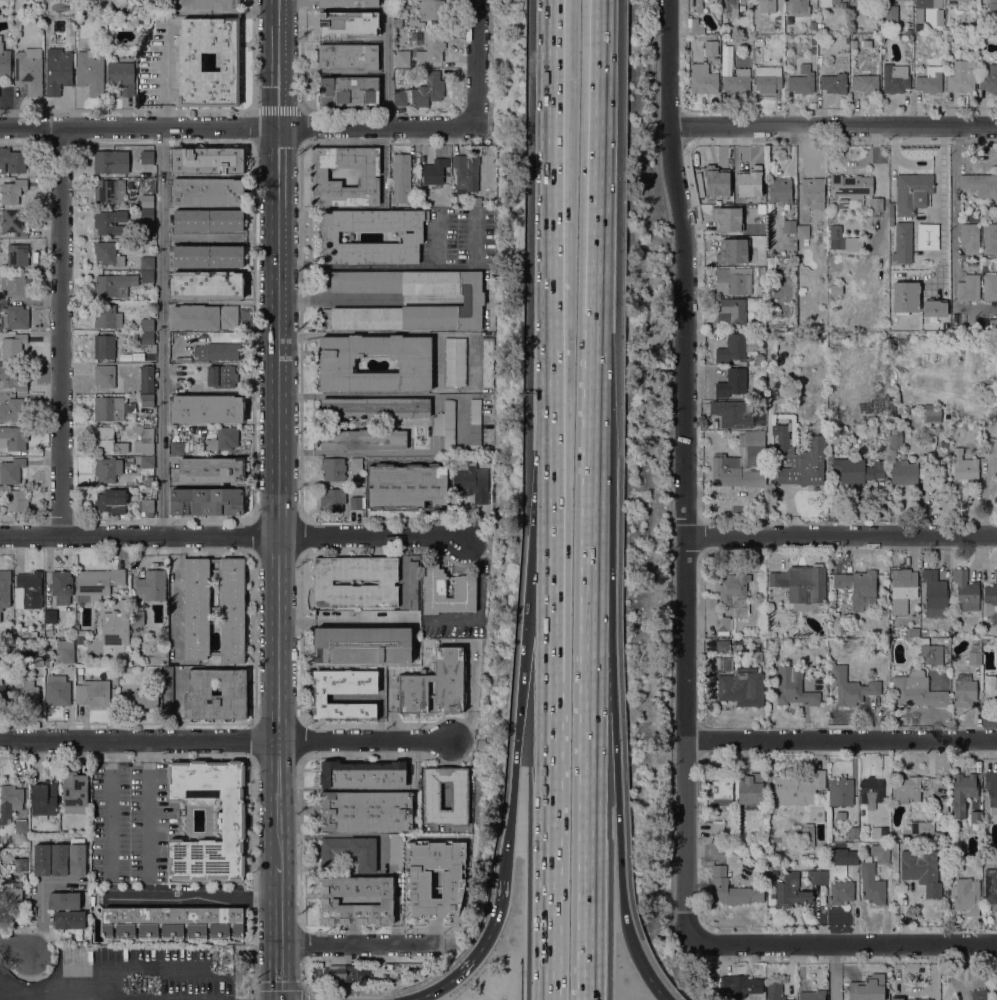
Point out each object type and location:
building: (958, 0)
building: (970, 0)
building: (119, 2)
building: (347, 3)
building: (760, 3)
building: (828, 3)
building: (217, 4)
building: (696, 6)
building: (730, 6)
building: (798, 7)
building: (992, 10)
building: (429, 12)
building: (890, 13)
building: (919, 15)
building: (939, 17)
building: (812, 20)
building: (398, 22)
building: (327, 25)
building: (695, 26)
building: (876, 29)
building: (971, 29)
building: (979, 29)
building: (852, 30)
building: (949, 30)
building: (909, 32)
building: (372, 35)
building: (949, 38)
building: (813, 41)
building: (431, 48)
building: (711, 48)
building: (813, 50)
building: (348, 56)
building: (402, 58)
building: (4, 61)
road: (474, 61)
road: (385, 63)
building: (188, 66)
building: (29, 71)
building: (90, 71)
building: (58, 73)
road: (166, 74)
building: (122, 75)
building: (962, 76)
building: (703, 79)
building: (767, 79)
building: (895, 79)
building: (801, 80)
building: (863, 80)
building: (929, 80)
building: (989, 80)
building: (737, 83)
building: (833, 83)
building: (348, 90)
building: (428, 90)
building: (400, 97)
road: (235, 127)
road: (832, 127)
road: (597, 153)
building: (147, 157)
building: (12, 161)
building: (207, 161)
building: (111, 162)
building: (434, 171)
building: (466, 173)
building: (319, 176)
building: (401, 178)
building: (716, 181)
building: (748, 181)
building: (130, 183)
building: (980, 184)
building: (148, 186)
building: (850, 188)
building: (12, 191)
building: (109, 191)
building: (780, 191)
building: (206, 192)
building: (813, 192)
building: (912, 192)
building: (145, 201)
building: (476, 202)
building: (842, 203)
building: (876, 205)
building: (891, 212)
road: (953, 214)
building: (146, 219)
building: (727, 219)
building: (208, 221)
building: (12, 223)
building: (110, 223)
building: (789, 226)
building: (803, 233)
building: (928, 235)
building: (412, 237)
building: (835, 237)
building: (969, 238)
building: (990, 239)
building: (903, 246)
building: (731, 251)
building: (108, 253)
building: (17, 255)
building: (208, 255)
building: (147, 262)
building: (985, 263)
building: (147, 276)
building: (733, 280)
building: (14, 283)
building: (113, 285)
building: (206, 285)
building: (990, 287)
building: (968, 288)
building: (835, 290)
building: (904, 296)
road: (366, 300)
building: (471, 300)
road: (553, 301)
building: (933, 308)
building: (730, 311)
building: (107, 316)
building: (14, 317)
building: (204, 317)
building: (147, 325)
road: (60, 330)
road: (162, 330)
road: (399, 333)
building: (147, 338)
building: (190, 338)
building: (13, 347)
building: (104, 347)
building: (740, 348)
building: (217, 352)
building: (455, 361)
building: (487, 362)
building: (414, 363)
building: (104, 376)
building: (222, 377)
building: (12, 378)
building: (176, 378)
building: (147, 379)
road: (594, 381)
building: (732, 383)
road: (370, 395)
building: (147, 400)
building: (375, 407)
building: (112, 408)
building: (207, 409)
building: (994, 410)
building: (14, 411)
building: (931, 413)
building: (732, 414)
building: (885, 420)
building: (445, 424)
building: (475, 424)
building: (120, 428)
road: (277, 433)
building: (16, 438)
building: (108, 440)
building: (224, 440)
building: (363, 440)
building: (895, 440)
building: (147, 441)
building: (177, 448)
building: (990, 448)
road: (392, 451)
building: (798, 458)
building: (742, 463)
building: (145, 464)
building: (356, 464)
building: (963, 465)
building: (333, 468)
building: (107, 469)
building: (211, 469)
building: (11, 471)
road: (686, 471)
building: (856, 471)
building: (903, 473)
building: (472, 482)
building: (407, 486)
building: (16, 500)
building: (331, 500)
building: (111, 501)
building: (207, 502)
building: (355, 502)
building: (1, 503)
building: (147, 506)
road: (232, 534)
road: (841, 535)
road: (592, 557)
building: (98, 582)
building: (323, 582)
building: (152, 584)
building: (802, 584)
building: (413, 585)
building: (61, 586)
building: (858, 588)
building: (902, 589)
building: (28, 590)
building: (434, 591)
building: (965, 591)
building: (5, 592)
building: (735, 594)
building: (935, 595)
building: (991, 598)
building: (710, 601)
building: (51, 616)
building: (137, 618)
road: (341, 620)
building: (915, 623)
building: (723, 625)
building: (116, 626)
building: (197, 627)
building: (49, 632)
building: (79, 633)
road: (551, 643)
building: (363, 645)
building: (722, 646)
building: (65, 651)
building: (975, 653)
building: (931, 654)
building: (757, 657)
building: (996, 657)
building: (38, 661)
building: (47, 664)
building: (80, 670)
road: (522, 680)
building: (435, 684)
building: (742, 687)
building: (795, 687)
building: (851, 687)
building: (168, 689)
building: (57, 690)
building: (917, 690)
building: (990, 690)
building: (964, 691)
building: (2, 692)
building: (344, 692)
building: (92, 693)
building: (198, 694)
building: (28, 695)
building: (140, 698)
road: (613, 730)
road: (364, 739)
road: (841, 740)
road: (139, 742)
building: (363, 774)
building: (991, 787)
building: (722, 788)
building: (750, 788)
building: (799, 789)
building: (906, 790)
building: (840, 791)
building: (871, 792)
building: (963, 792)
building: (75, 793)
building: (431, 795)
building: (44, 798)
building: (10, 801)
road: (110, 807)
building: (945, 807)
road: (147, 808)
building: (366, 811)
building: (840, 815)
building: (976, 817)
building: (230, 820)
building: (739, 821)
road: (508, 822)
building: (21, 826)
building: (718, 827)
road: (589, 829)
building: (918, 831)
building: (854, 833)
building: (880, 833)
building: (806, 834)
road: (550, 842)
building: (717, 848)
building: (395, 850)
building: (350, 852)
building: (880, 853)
building: (852, 856)
building: (807, 857)
building: (77, 859)
building: (42, 860)
building: (60, 860)
building: (21, 864)
building: (951, 868)
building: (922, 870)
building: (818, 876)
building: (434, 878)
road: (620, 878)
building: (871, 882)
building: (991, 887)
building: (731, 889)
building: (841, 892)
building: (790, 894)
building: (967, 896)
building: (11, 898)
road: (192, 898)
road: (40, 899)
building: (64, 900)
building: (329, 900)
building: (69, 920)
building: (173, 921)
road: (280, 933)
road: (357, 945)
road: (844, 945)
road: (19, 948)
road: (476, 953)
building: (341, 973)
road: (834, 973)
road: (646, 975)
road: (286, 985)
building: (740, 985)
building: (868, 988)
building: (774, 990)
road: (2, 994)
building: (812, 995)
building: (979, 995)
road: (60, 996)
building: (897, 998)
building: (792, 999)

